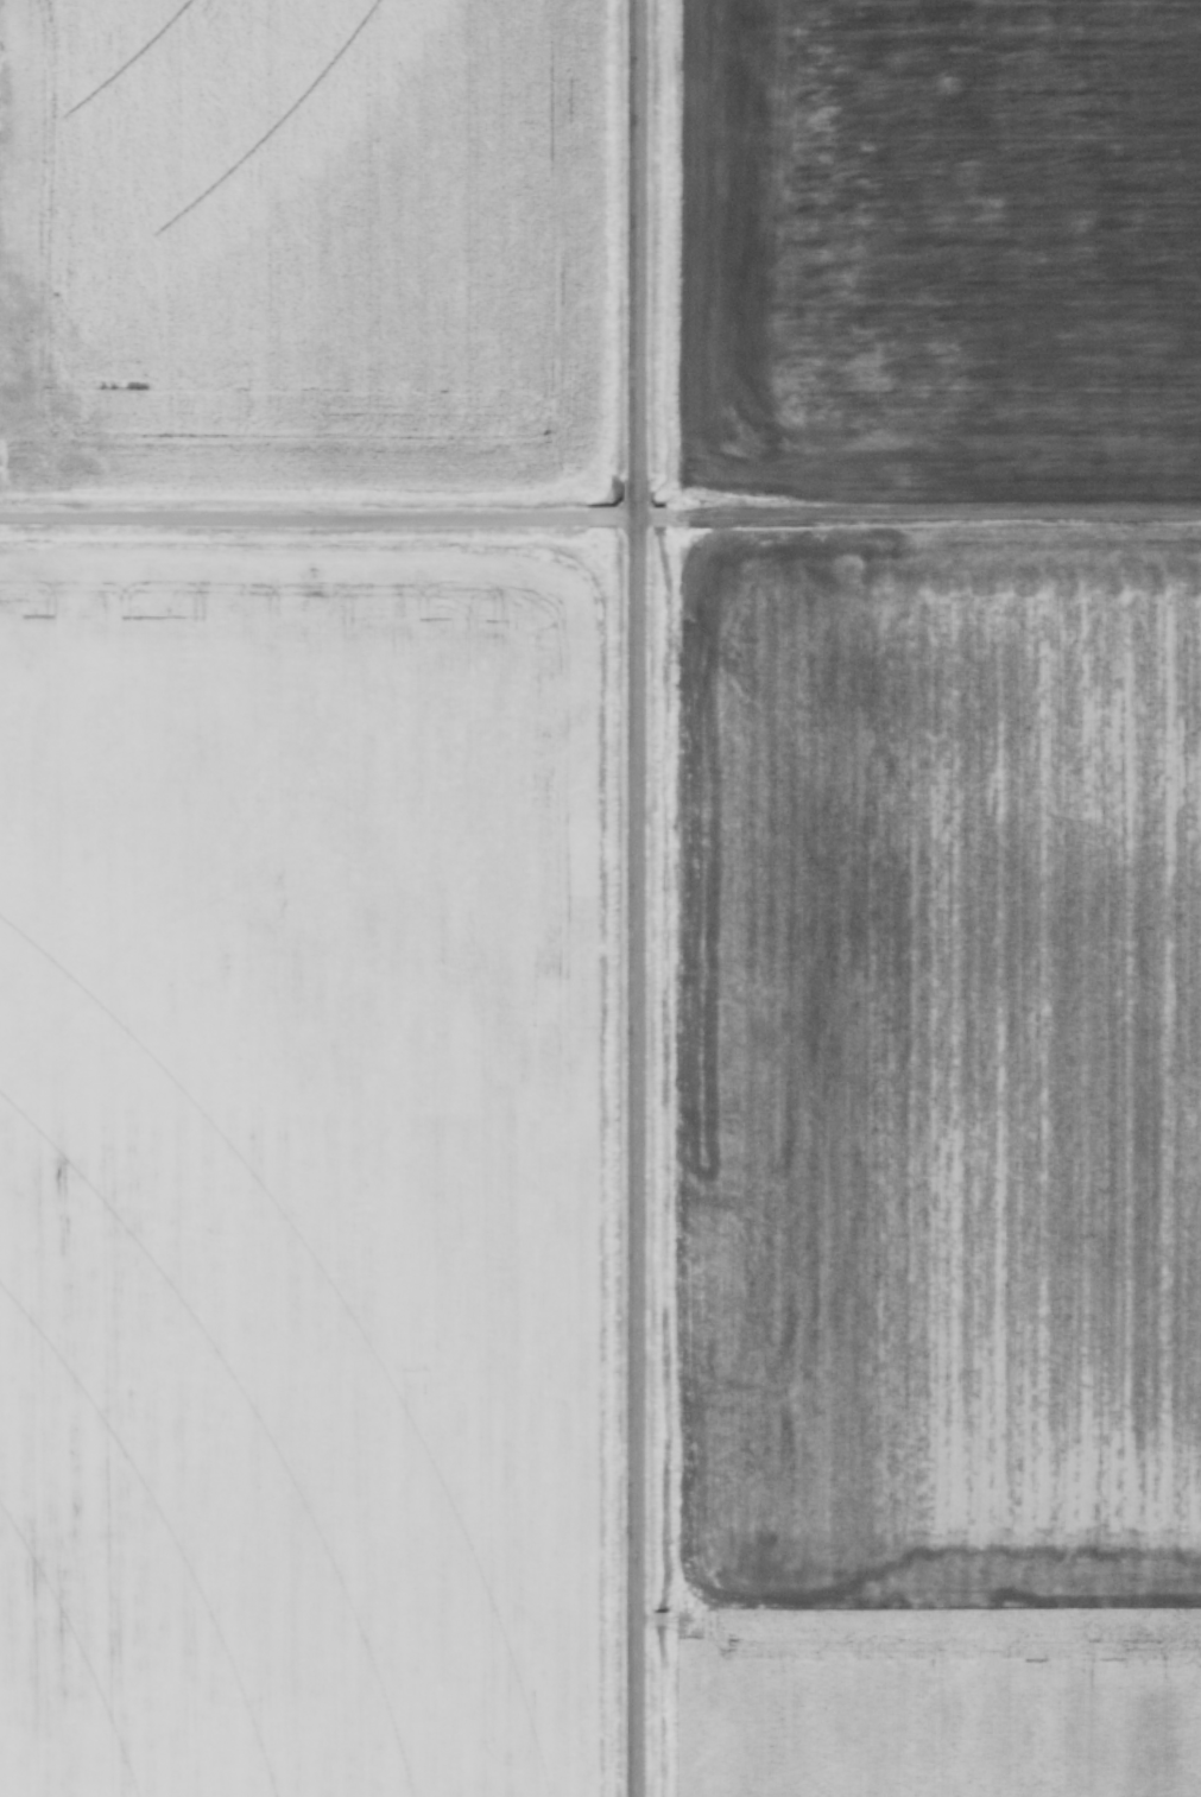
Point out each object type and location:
road: (600, 514)
road: (636, 898)

